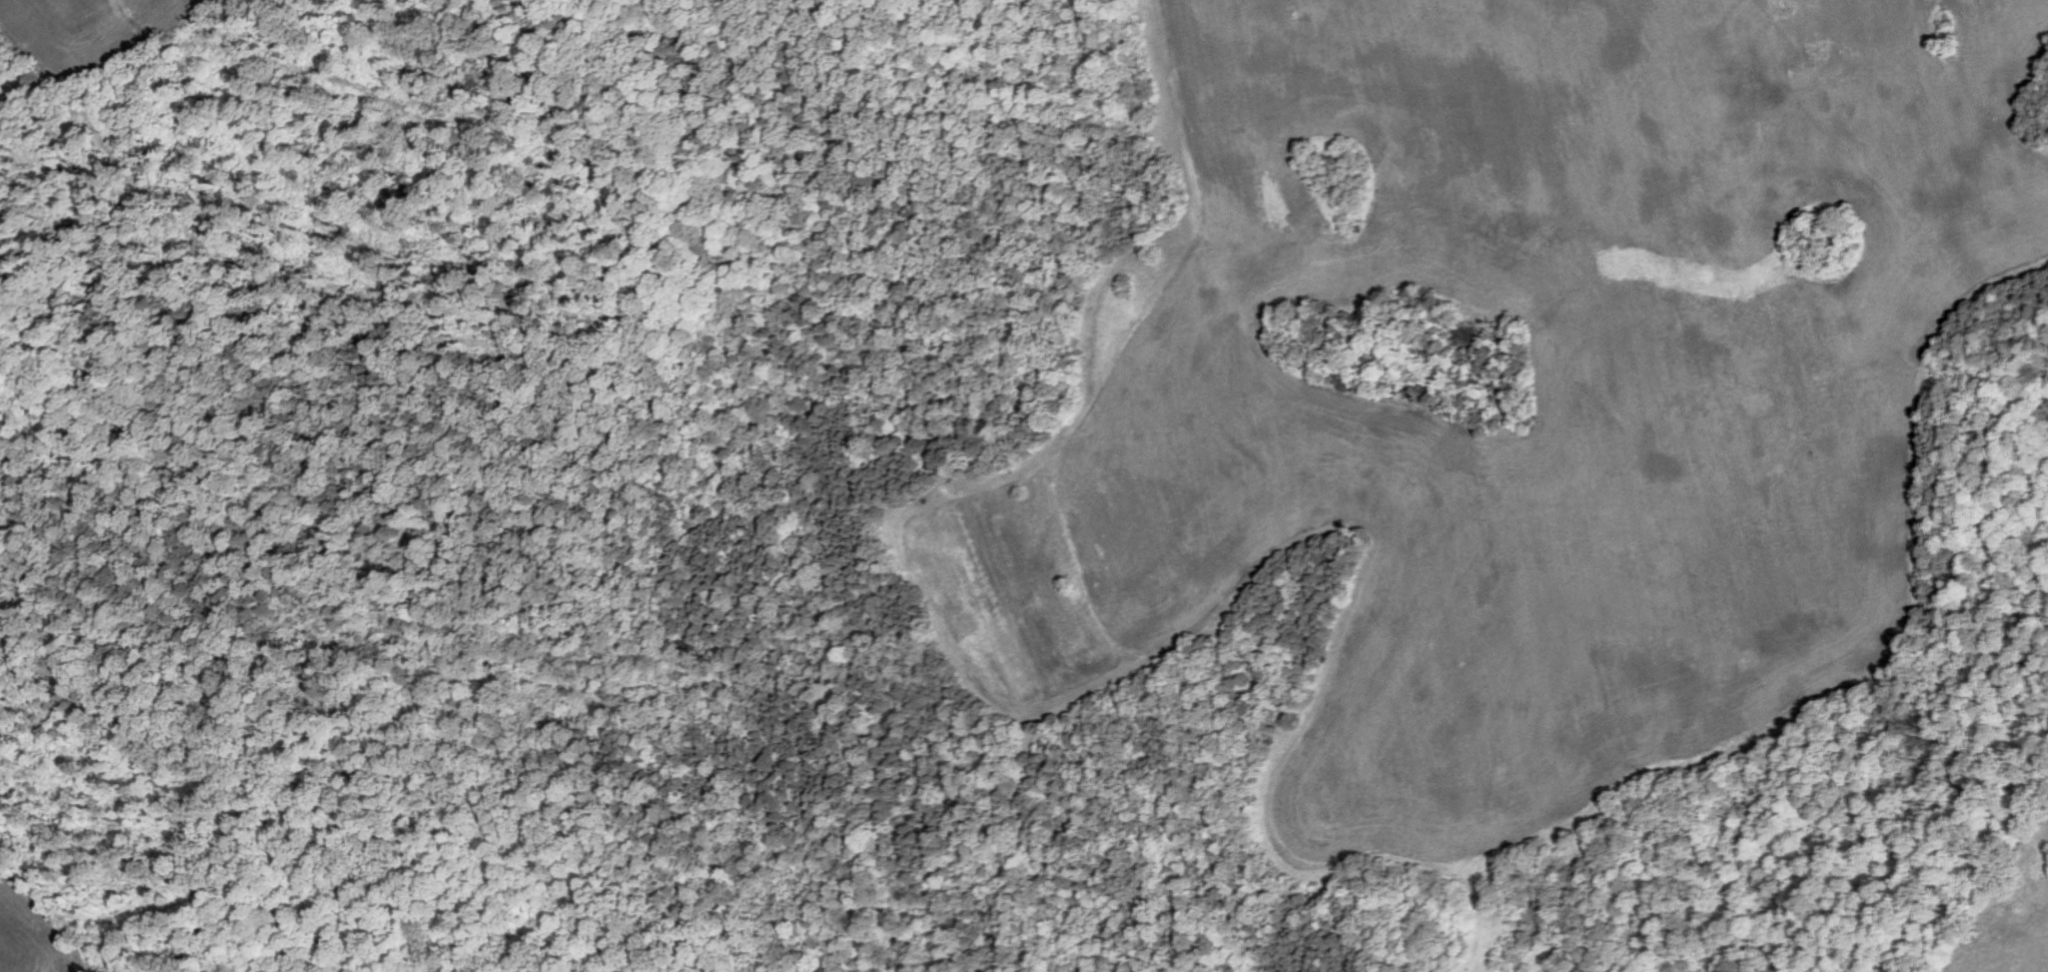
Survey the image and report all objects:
road: (558, 308)

